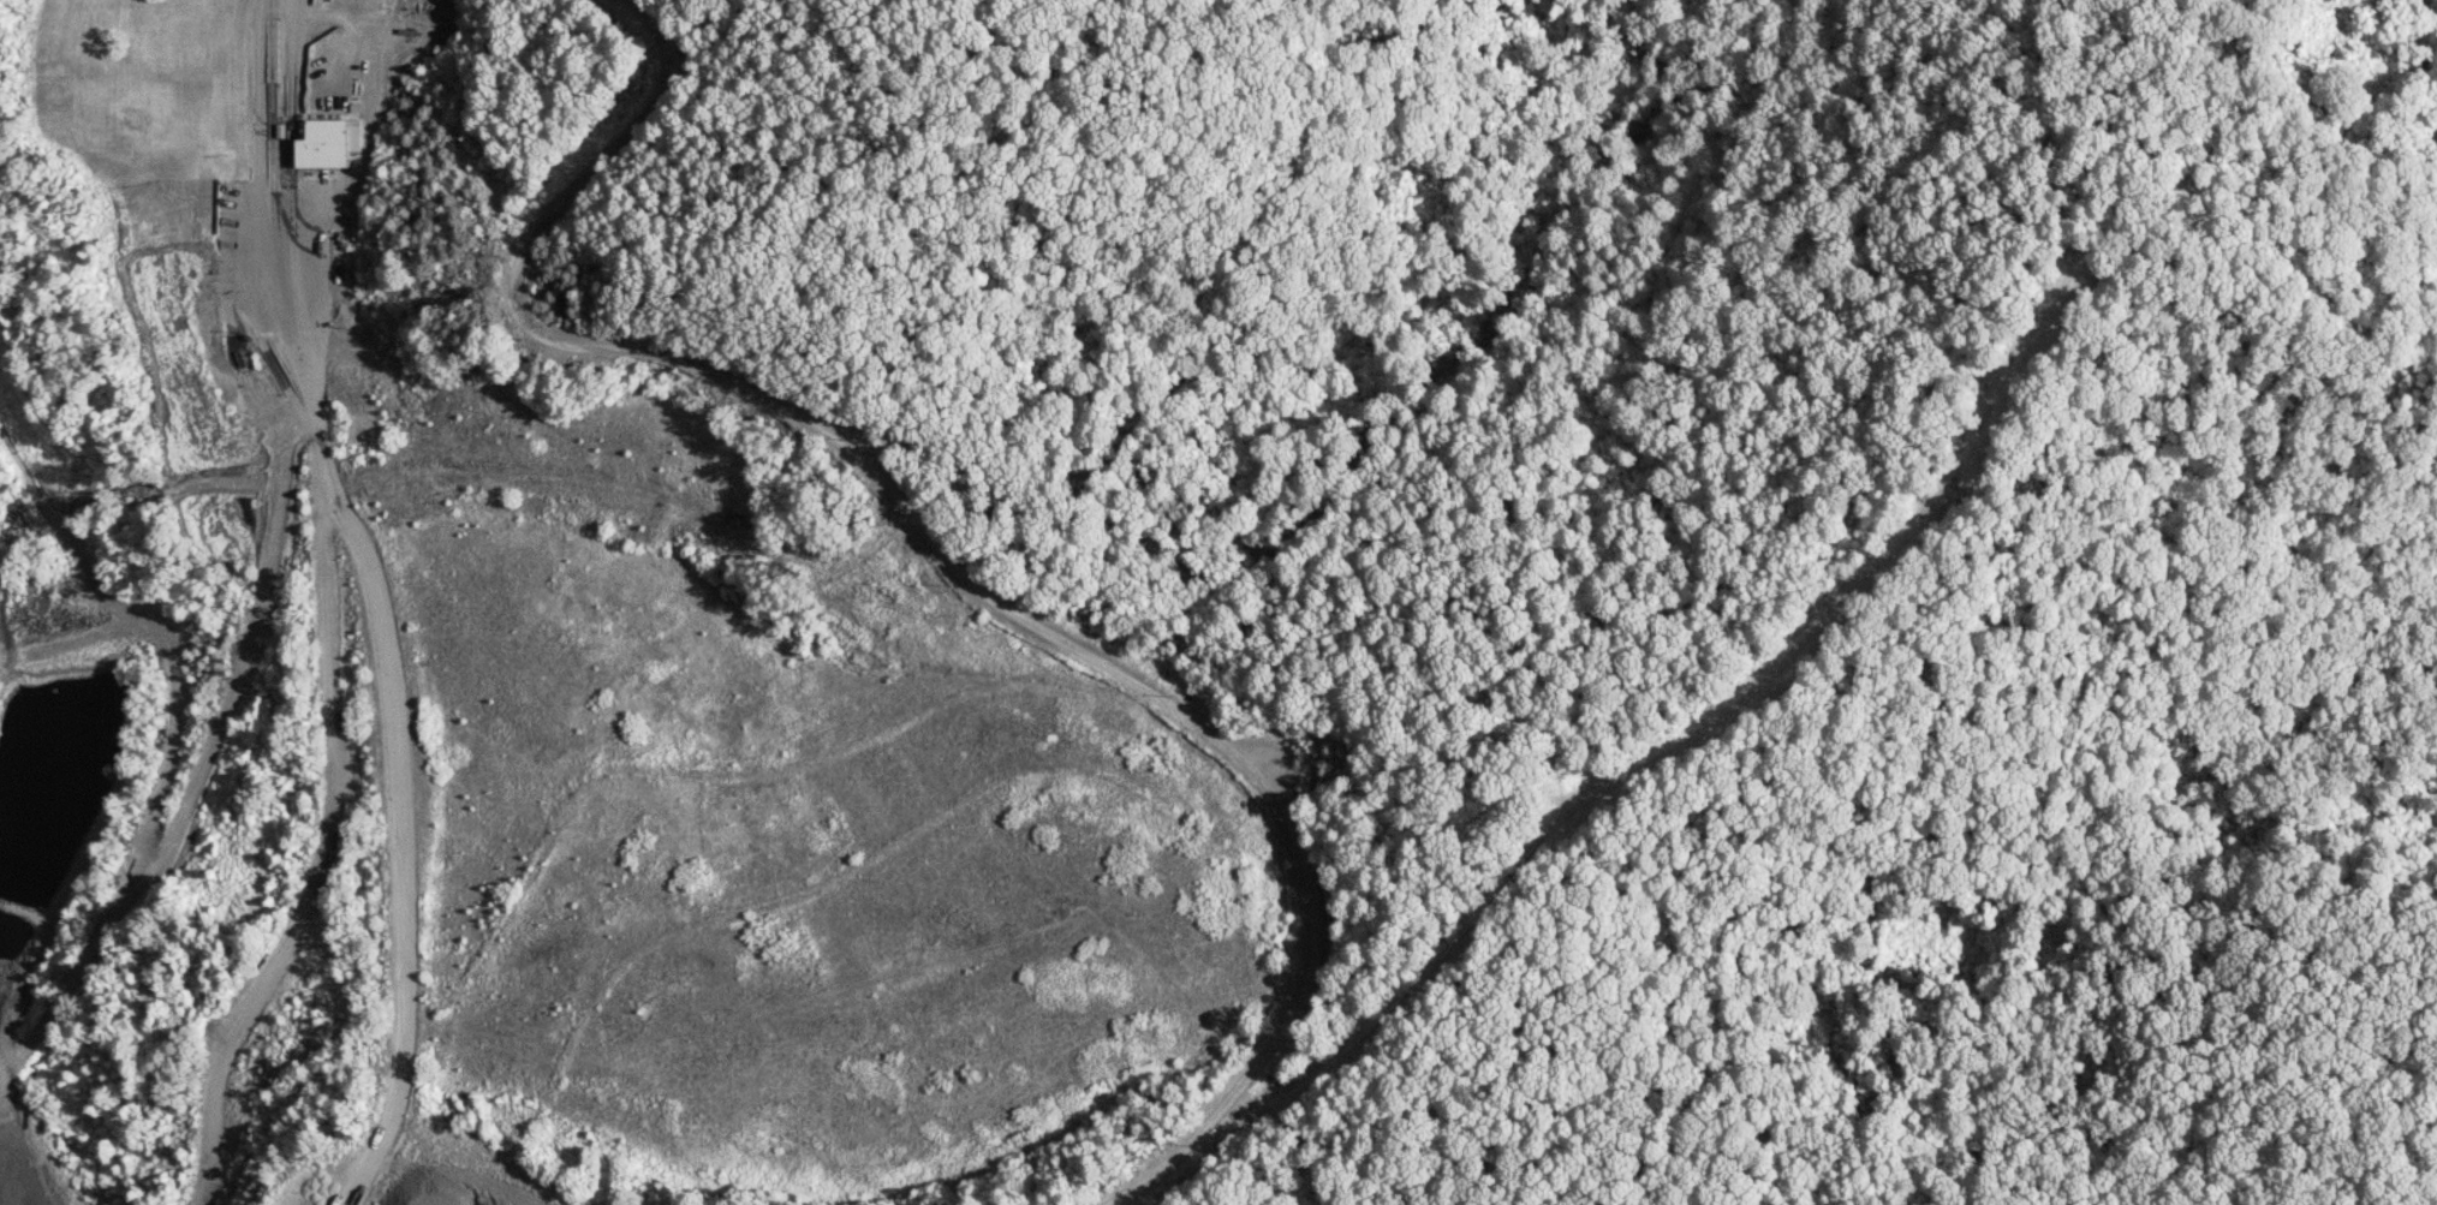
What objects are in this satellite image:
building: (328, 142)
road: (946, 565)
road: (326, 614)
landfill: (556, 697)
road: (205, 756)
road: (401, 829)

